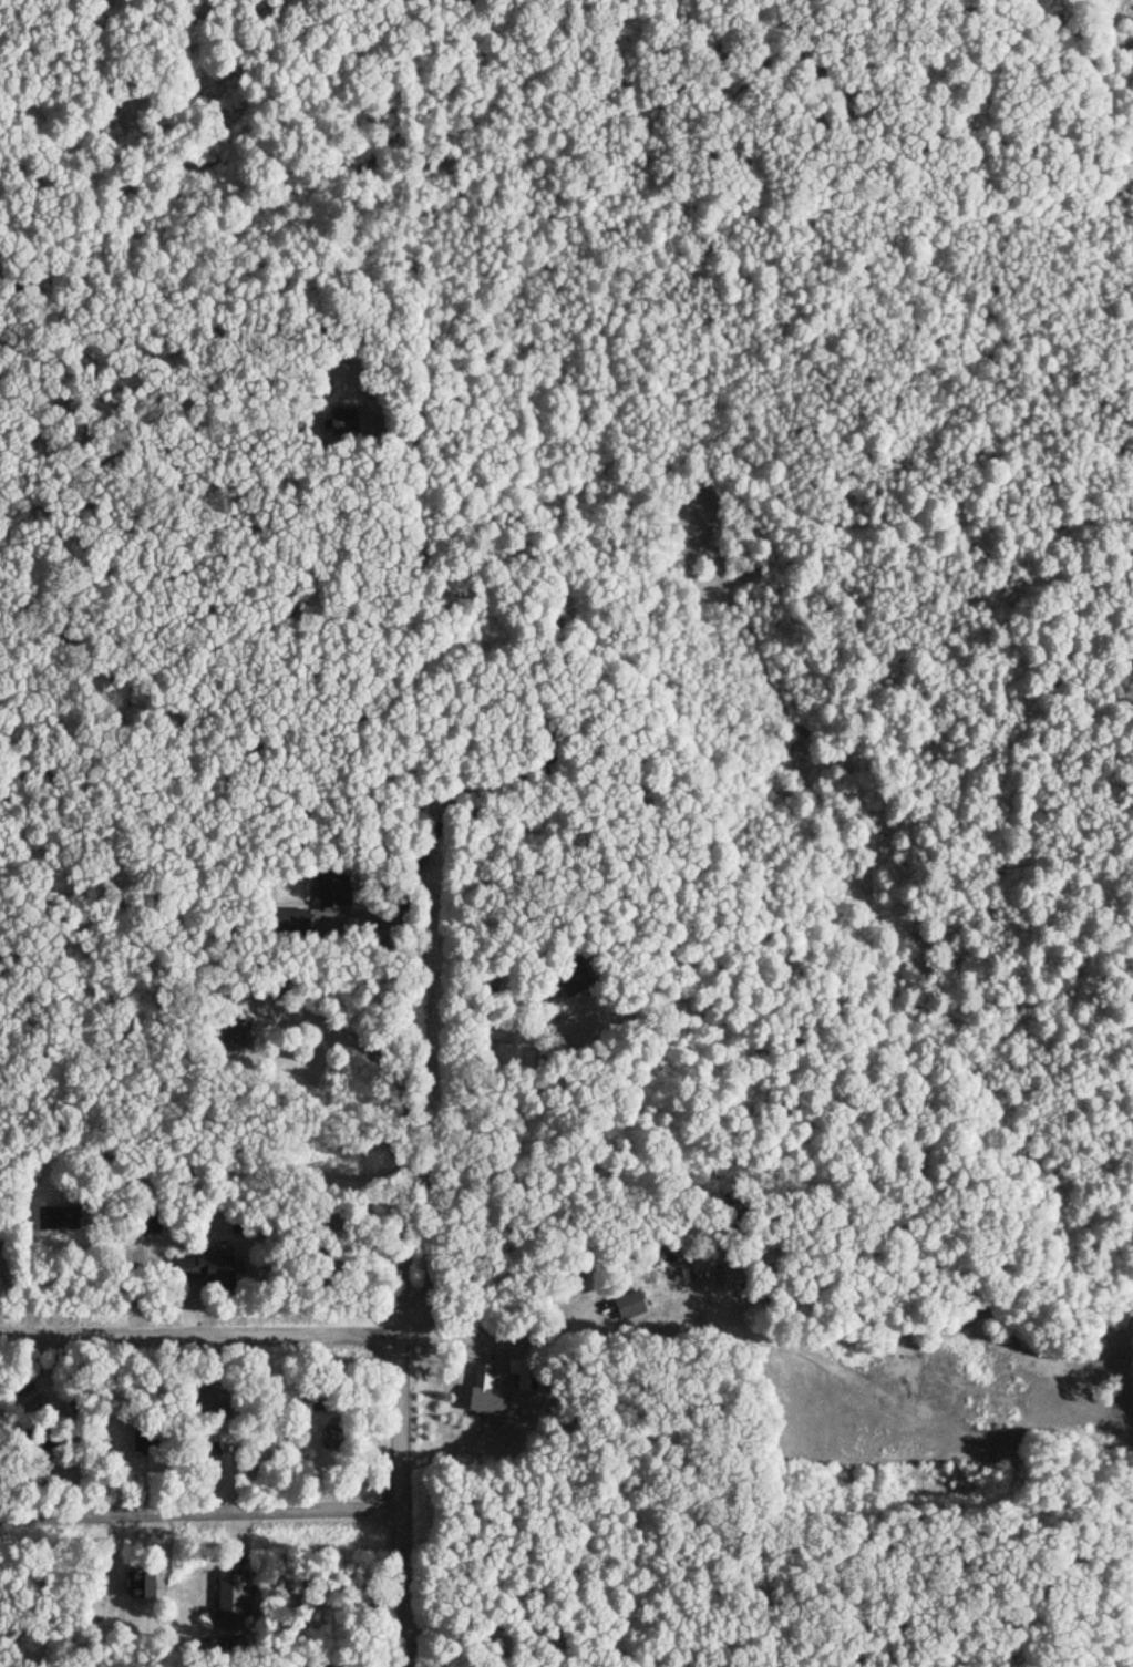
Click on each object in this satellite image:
building: (477, 815)
building: (333, 889)
building: (292, 922)
building: (571, 978)
building: (279, 988)
building: (236, 1031)
building: (58, 1218)
road: (409, 1245)
building: (206, 1272)
building: (629, 1305)
road: (202, 1336)
building: (486, 1392)
building: (207, 1403)
building: (336, 1439)
road: (203, 1515)
building: (140, 1584)
building: (230, 1603)

